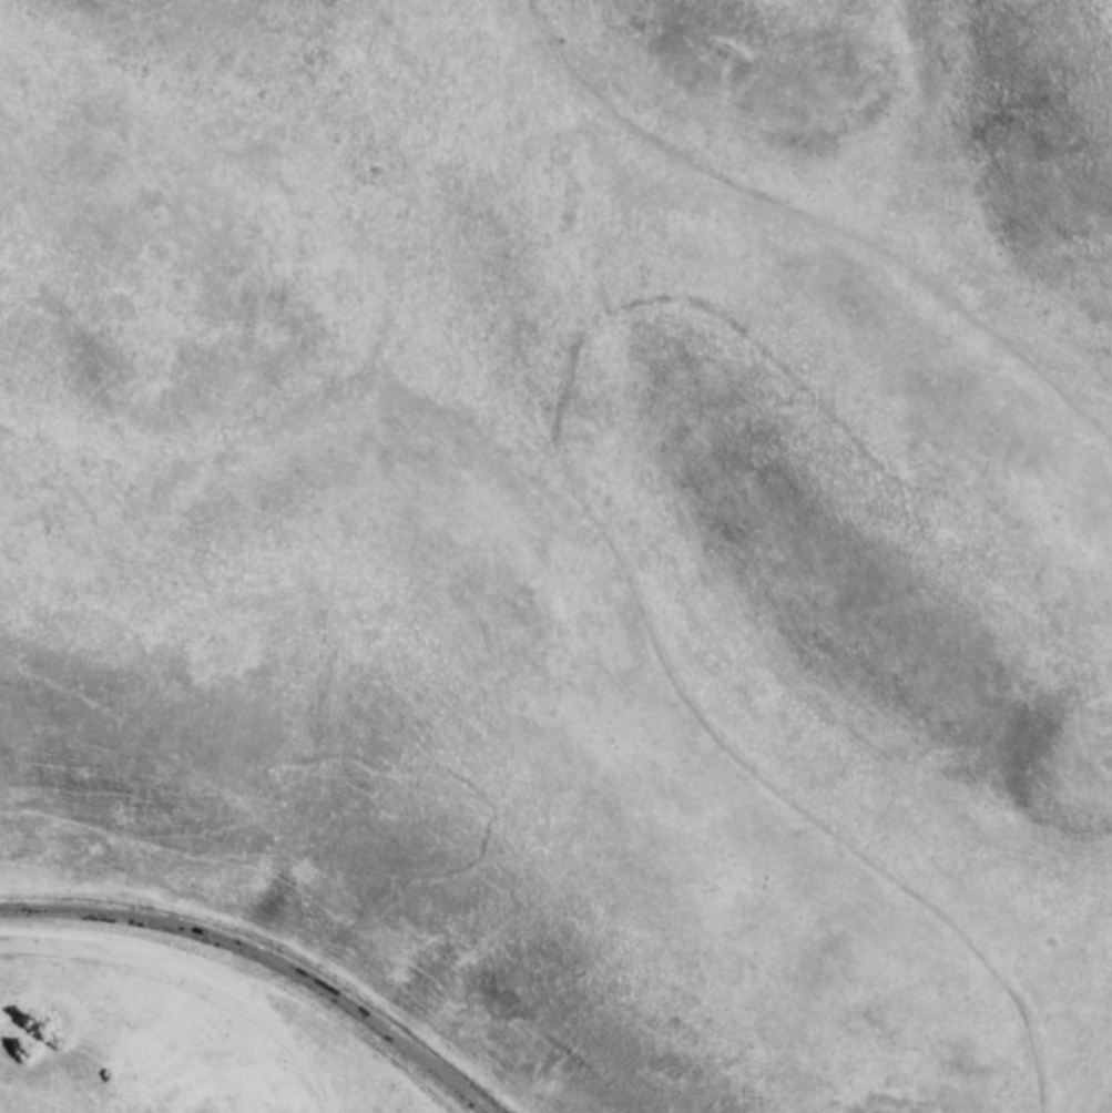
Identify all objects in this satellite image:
road: (257, 962)

